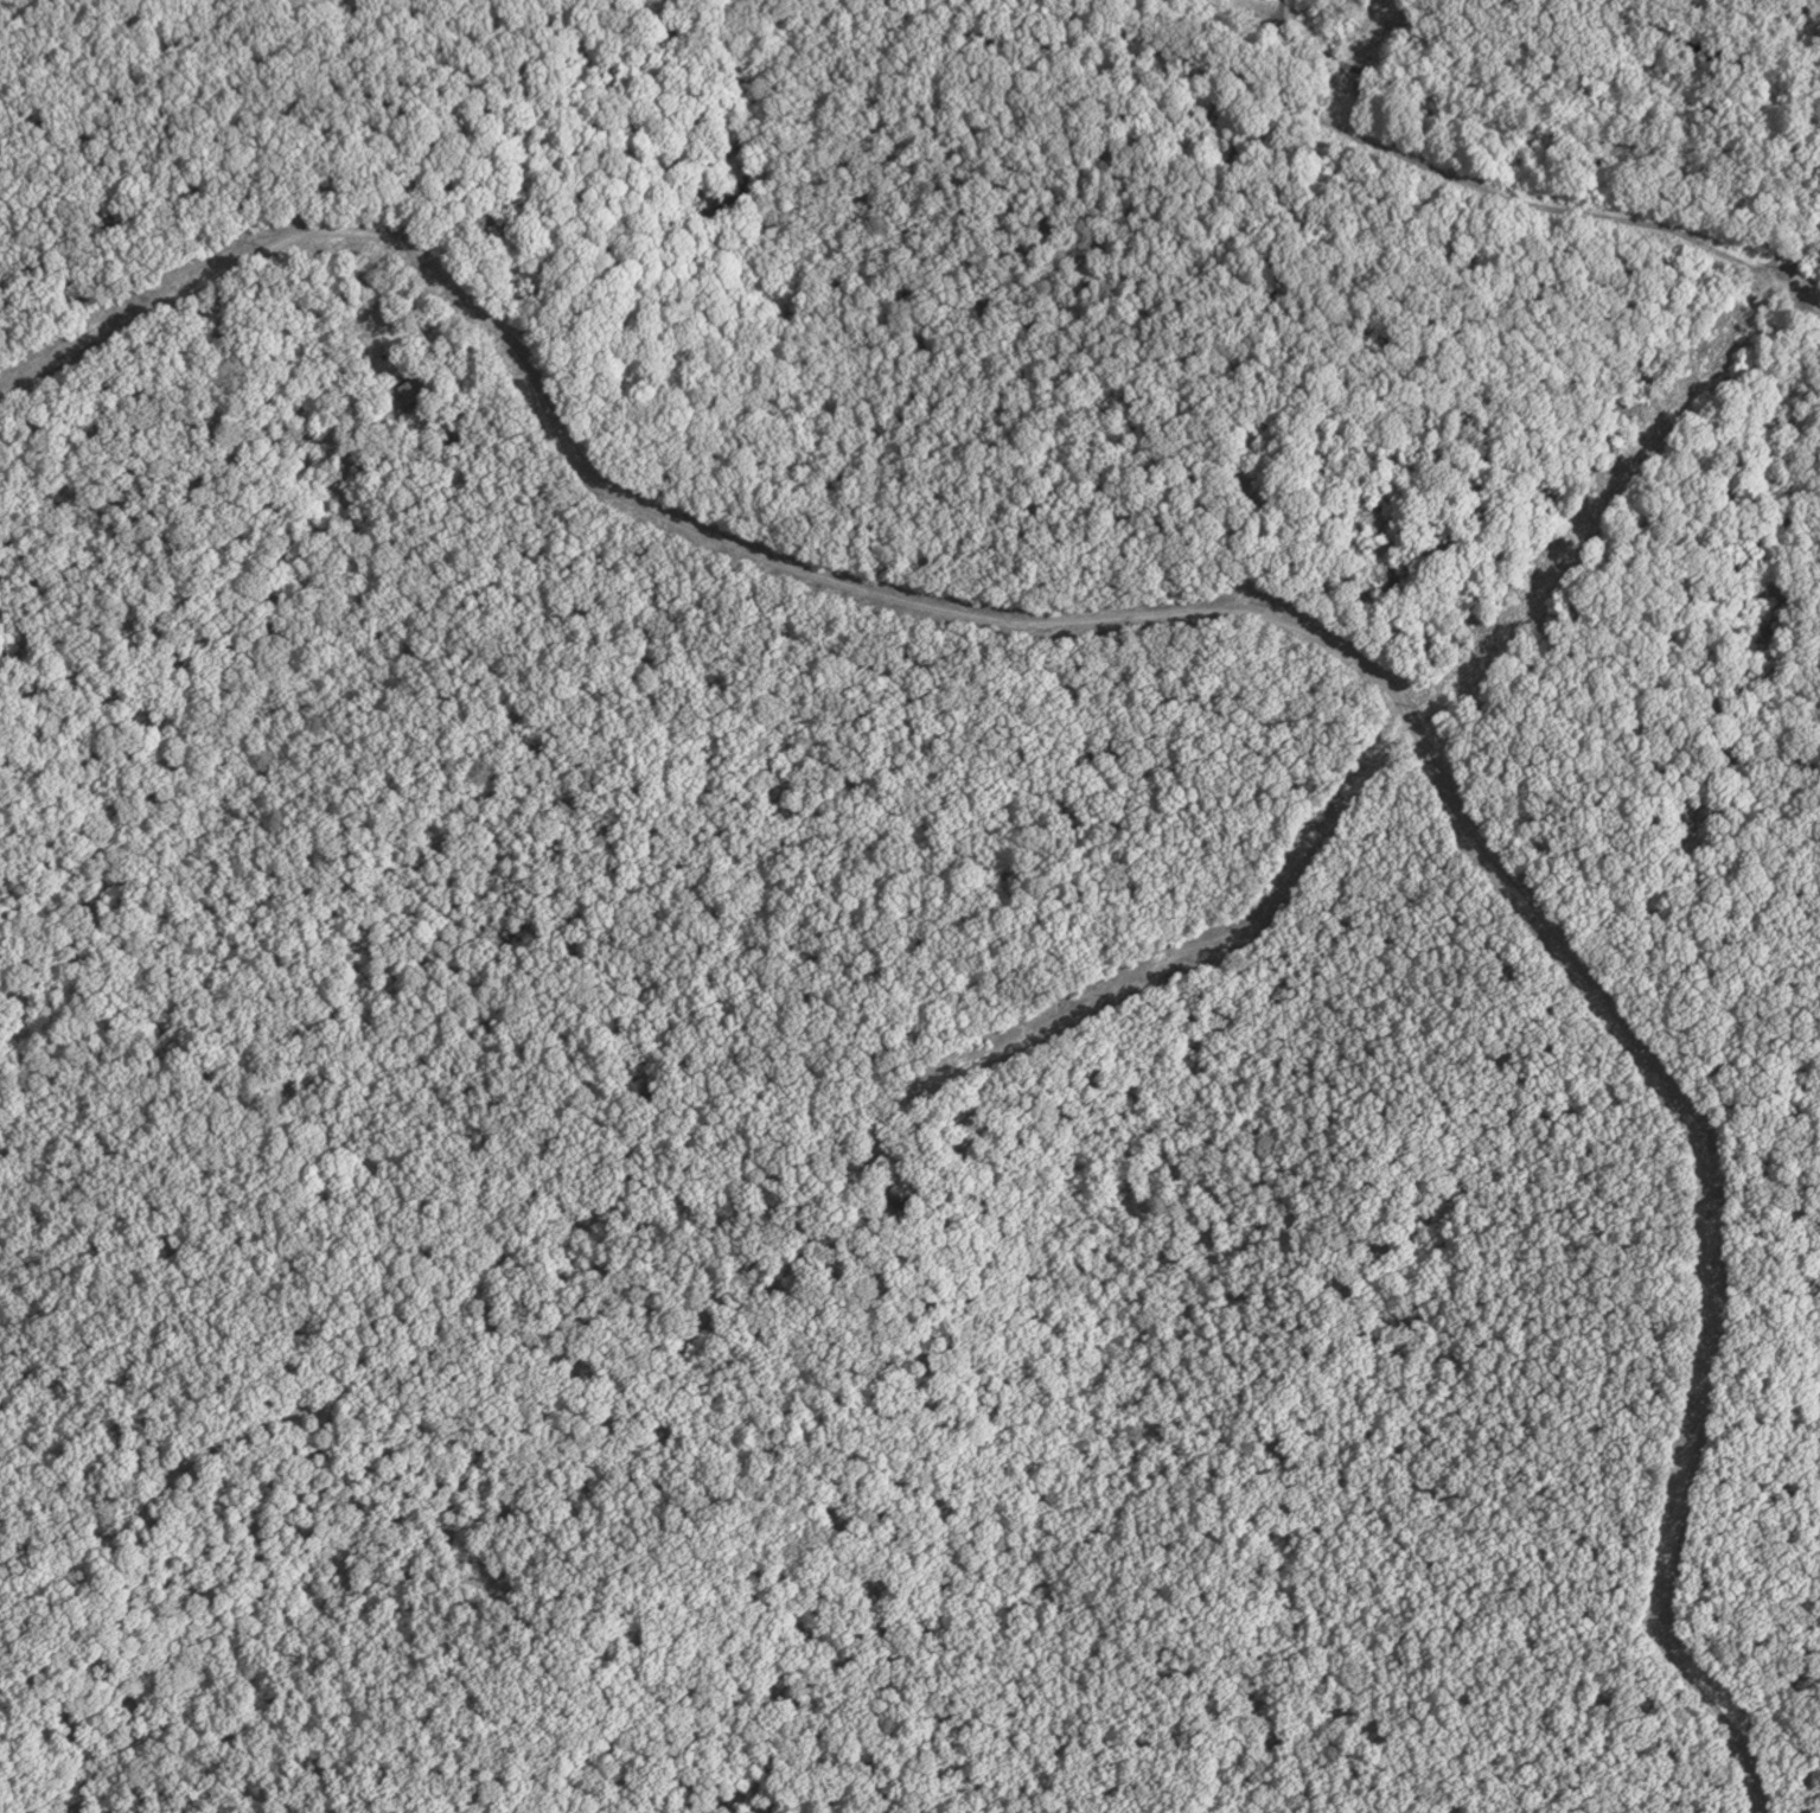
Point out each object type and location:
road: (1703, 51)
road: (1342, 129)
road: (162, 165)
road: (153, 317)
road: (1391, 691)
road: (1158, 960)

